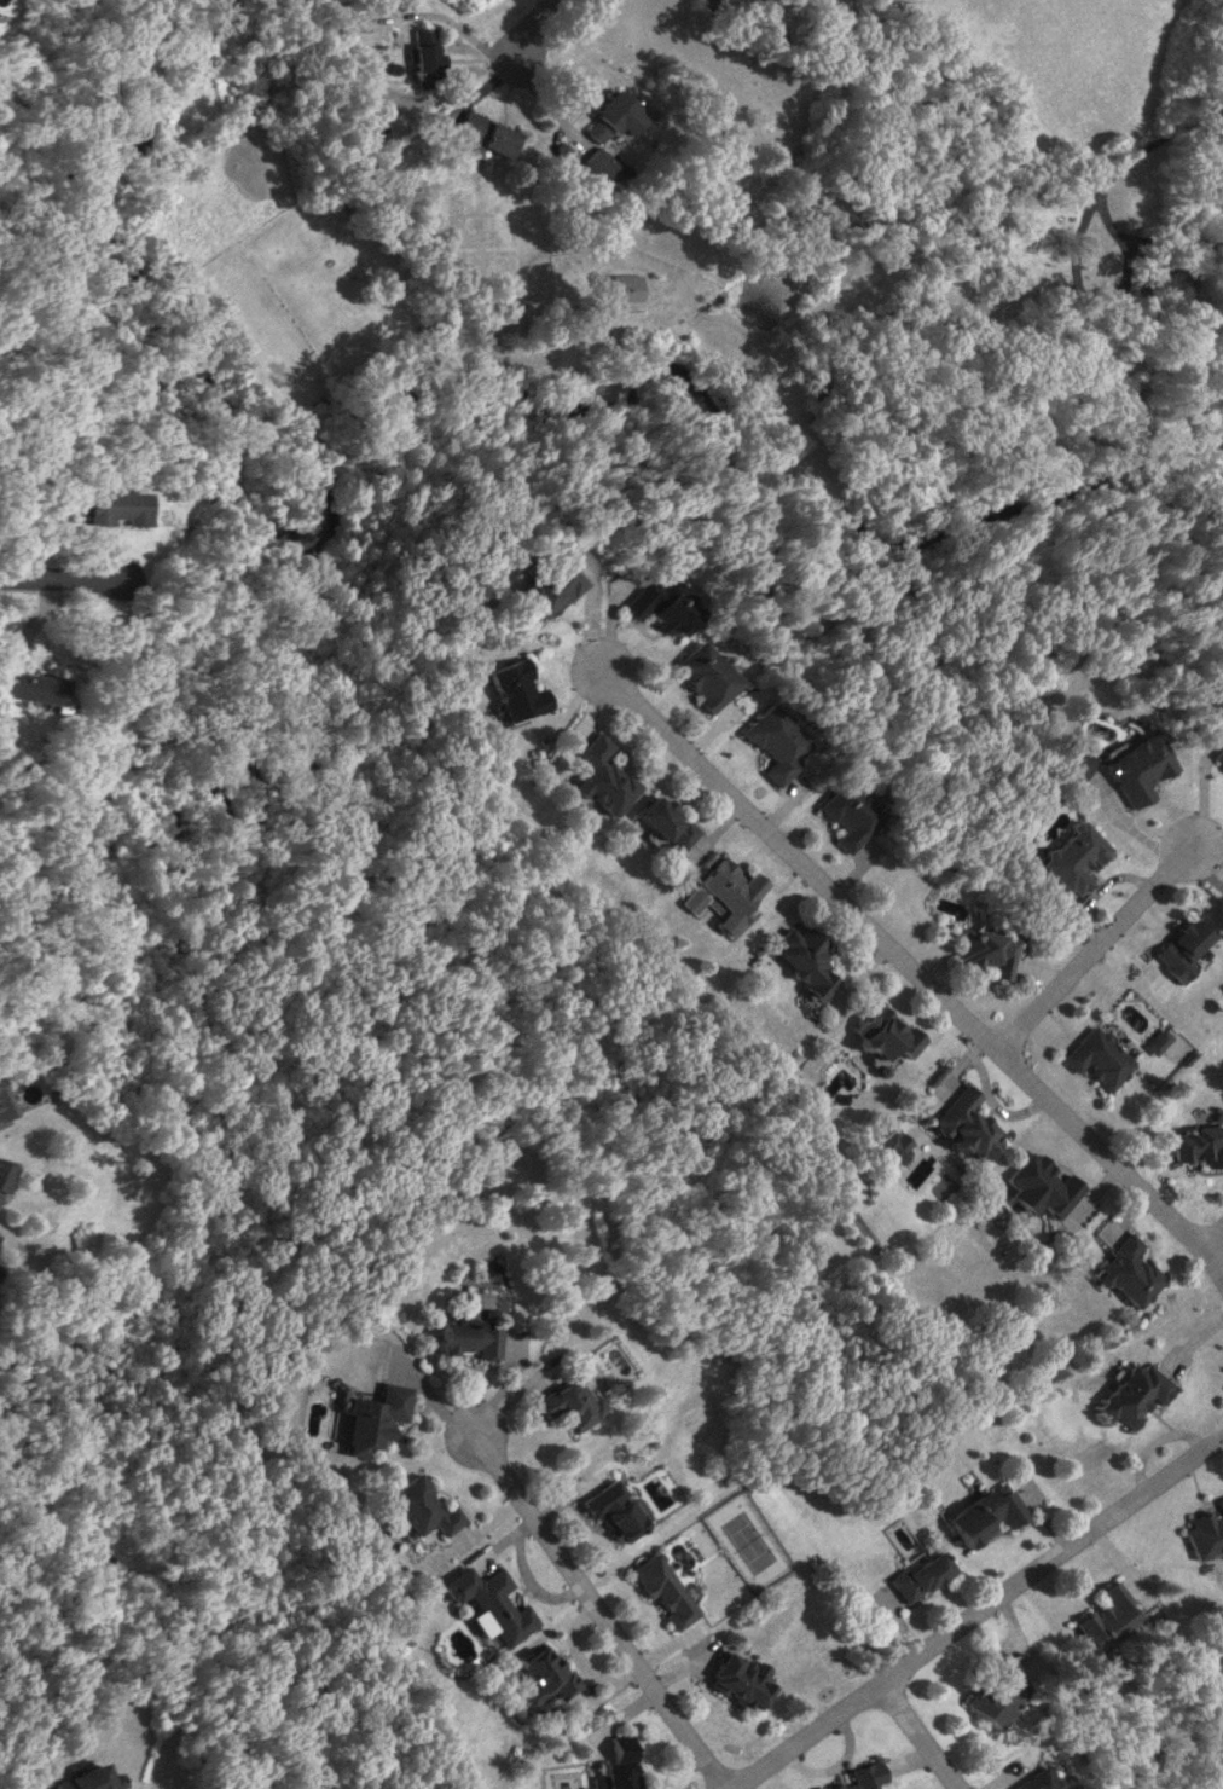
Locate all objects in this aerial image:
road: (431, 15)
road: (527, 31)
building: (415, 53)
building: (613, 116)
building: (475, 135)
road: (1154, 137)
building: (591, 164)
building: (619, 286)
building: (1159, 294)
road: (1094, 300)
road: (57, 577)
building: (544, 591)
building: (656, 604)
building: (1217, 665)
building: (702, 675)
building: (29, 688)
building: (512, 690)
building: (776, 742)
building: (1217, 755)
building: (1073, 764)
building: (1136, 769)
building: (599, 777)
building: (850, 816)
building: (665, 822)
building: (1076, 857)
building: (723, 894)
building: (1184, 949)
building: (989, 951)
road: (1097, 951)
building: (802, 960)
road: (912, 966)
building: (883, 1034)
building: (1160, 1041)
building: (1101, 1058)
building: (2, 1106)
building: (0, 1124)
building: (962, 1125)
building: (1200, 1145)
building: (889, 1148)
building: (2, 1170)
building: (1038, 1186)
road: (1215, 1241)
building: (1126, 1272)
building: (469, 1338)
building: (1134, 1394)
building: (569, 1403)
building: (371, 1418)
building: (419, 1507)
building: (616, 1510)
building: (986, 1515)
building: (1205, 1534)
building: (923, 1575)
building: (665, 1590)
building: (487, 1604)
road: (602, 1610)
road: (981, 1615)
building: (1107, 1620)
road: (1163, 1628)
building: (545, 1677)
building: (743, 1679)
building: (996, 1690)
park: (1148, 1692)
road: (921, 1737)
building: (620, 1766)
building: (862, 1777)
building: (89, 1779)
building: (1033, 1781)

